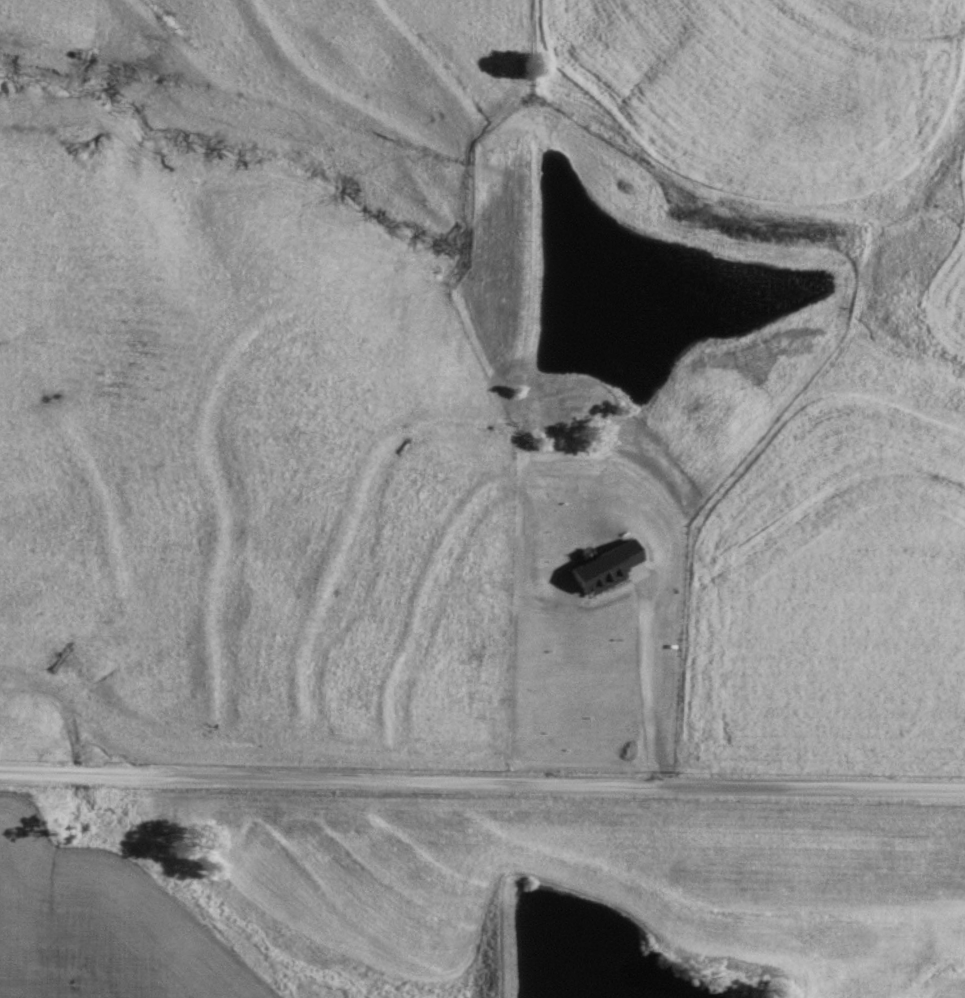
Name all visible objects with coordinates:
building: (607, 566)
road: (482, 780)

